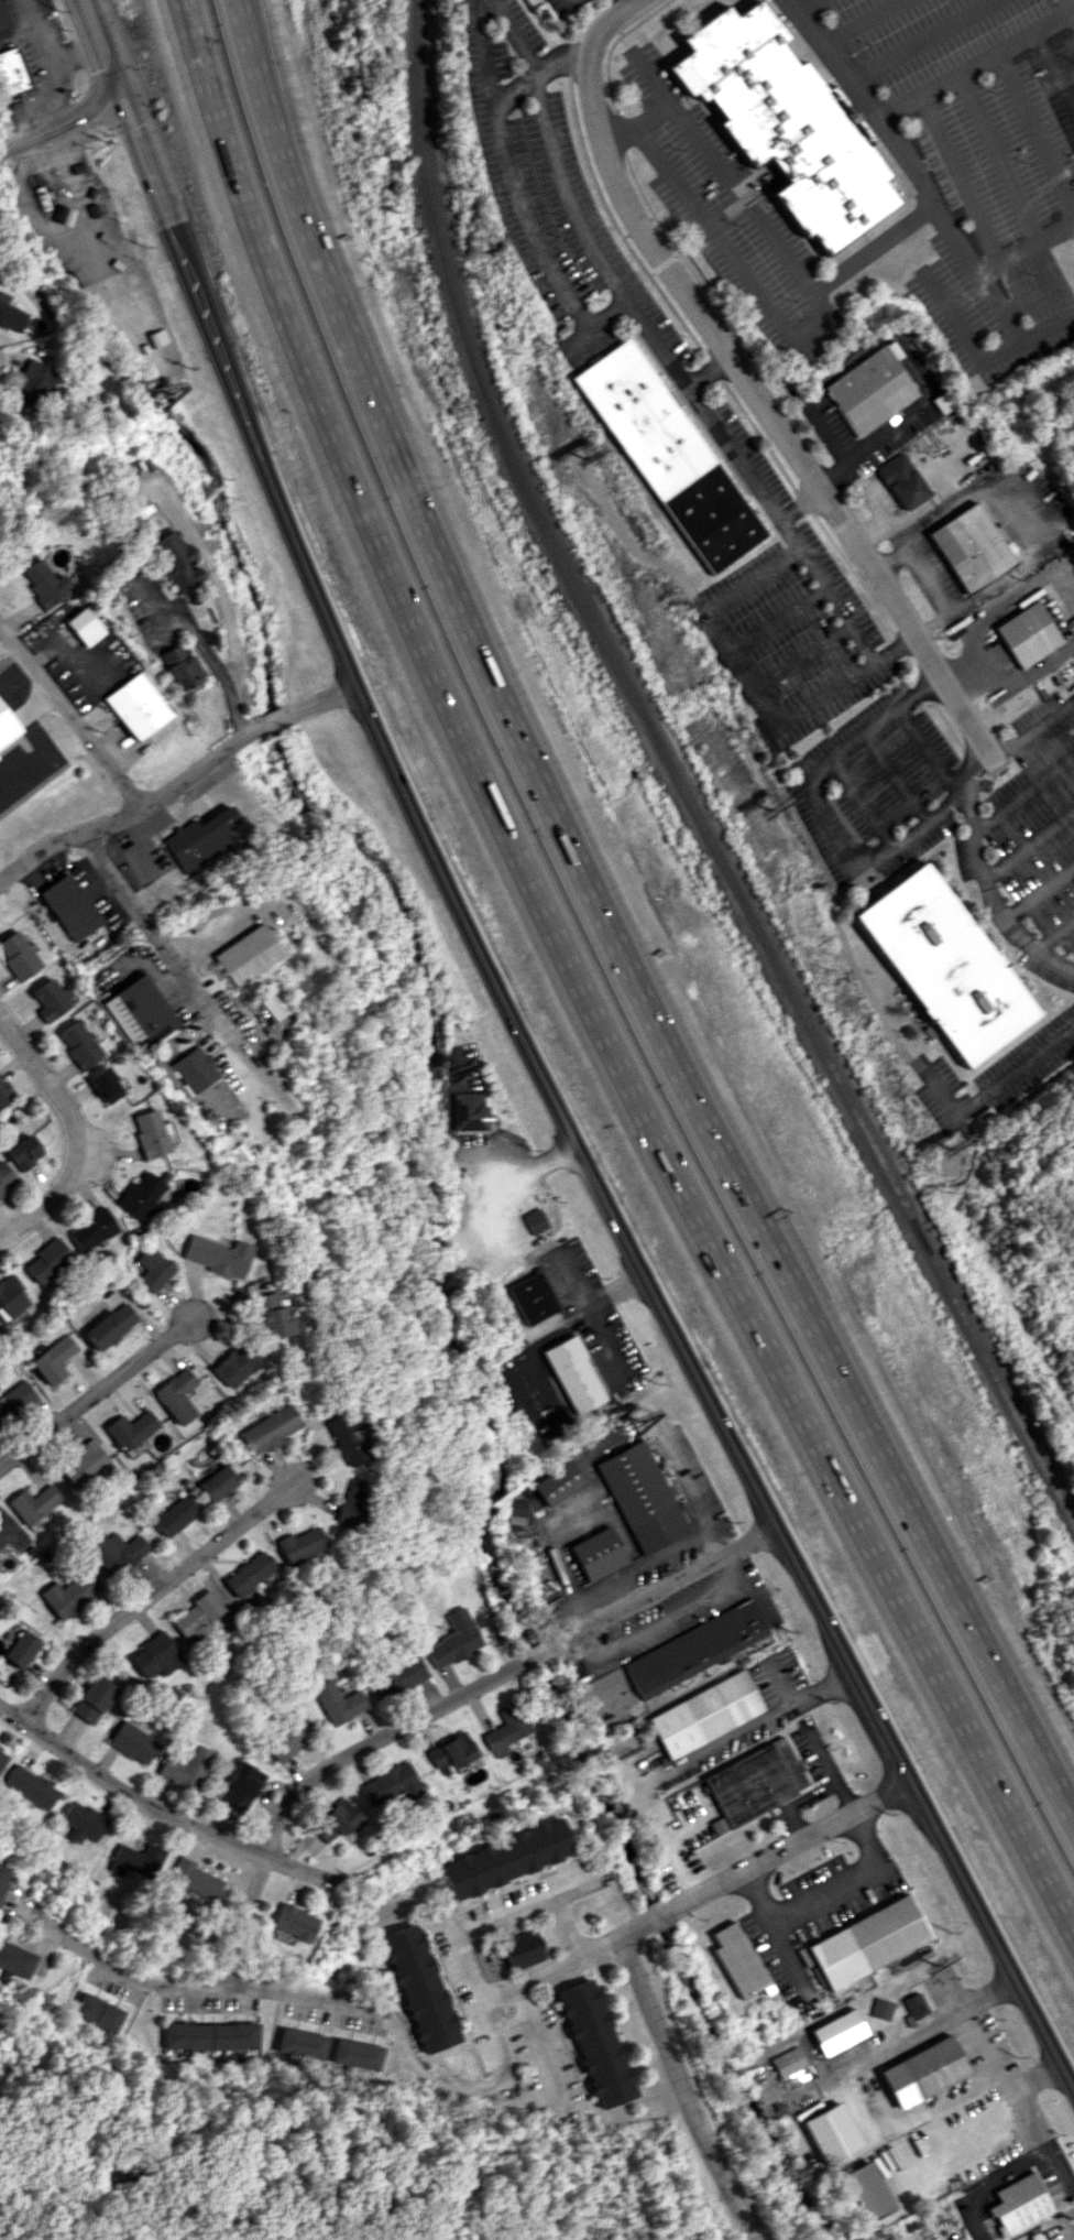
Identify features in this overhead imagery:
road: (632, 2)
road: (800, 2)
road: (568, 3)
road: (632, 6)
road: (1072, 12)
road: (1072, 18)
road: (861, 20)
building: (1, 21)
road: (515, 35)
road: (924, 40)
road: (74, 50)
road: (979, 58)
road: (48, 70)
building: (10, 73)
road: (1052, 73)
building: (58, 80)
road: (648, 115)
building: (785, 127)
road: (59, 128)
road: (1032, 131)
road: (140, 153)
road: (996, 163)
road: (228, 168)
road: (916, 173)
road: (723, 176)
road: (958, 178)
road: (570, 213)
road: (1029, 294)
building: (138, 298)
road: (774, 308)
road: (1070, 309)
road: (1073, 315)
building: (11, 316)
road: (903, 346)
road: (1000, 351)
building: (33, 385)
road: (756, 389)
building: (873, 389)
road: (719, 432)
building: (666, 455)
building: (902, 480)
building: (136, 508)
building: (971, 547)
building: (173, 561)
building: (42, 584)
road: (822, 592)
road: (219, 598)
road: (1006, 604)
road: (772, 621)
building: (84, 626)
building: (1030, 634)
road: (200, 648)
road: (794, 655)
road: (1039, 666)
building: (177, 667)
road: (738, 674)
road: (1004, 685)
building: (133, 706)
road: (69, 719)
road: (1032, 731)
road: (930, 753)
road: (896, 776)
railway: (681, 782)
road: (176, 784)
road: (1022, 797)
road: (818, 809)
building: (198, 839)
road: (1028, 848)
road: (982, 879)
road: (1038, 892)
building: (68, 906)
road: (607, 929)
road: (1054, 935)
building: (246, 954)
building: (17, 956)
building: (942, 965)
road: (180, 972)
building: (50, 1000)
building: (271, 1000)
building: (139, 1011)
building: (79, 1044)
building: (187, 1070)
road: (1015, 1070)
building: (106, 1085)
building: (6, 1092)
building: (468, 1111)
road: (74, 1131)
building: (152, 1133)
road: (657, 1144)
building: (24, 1152)
road: (529, 1161)
building: (6, 1177)
building: (141, 1195)
road: (622, 1208)
building: (534, 1220)
building: (91, 1229)
building: (215, 1254)
building: (47, 1259)
building: (152, 1269)
road: (565, 1284)
building: (9, 1296)
building: (533, 1297)
road: (580, 1306)
building: (268, 1316)
building: (109, 1325)
building: (53, 1359)
building: (232, 1364)
building: (572, 1374)
building: (175, 1395)
building: (14, 1398)
road: (96, 1399)
building: (267, 1428)
building: (129, 1429)
building: (343, 1439)
building: (81, 1464)
building: (217, 1482)
building: (557, 1482)
building: (640, 1497)
building: (350, 1502)
building: (32, 1503)
building: (174, 1514)
building: (10, 1535)
building: (298, 1544)
building: (114, 1551)
building: (596, 1553)
building: (246, 1574)
building: (69, 1594)
road: (146, 1598)
building: (195, 1617)
building: (453, 1640)
building: (693, 1648)
building: (21, 1649)
building: (154, 1655)
building: (398, 1673)
road: (819, 1687)
building: (94, 1698)
building: (337, 1701)
road: (440, 1709)
building: (705, 1711)
building: (505, 1730)
building: (291, 1738)
building: (133, 1742)
road: (708, 1744)
building: (451, 1752)
building: (2, 1757)
building: (186, 1768)
road: (831, 1771)
building: (390, 1783)
building: (753, 1783)
building: (241, 1785)
building: (30, 1786)
road: (168, 1812)
building: (81, 1822)
building: (333, 1822)
road: (664, 1839)
building: (505, 1858)
building: (136, 1859)
building: (2, 1873)
building: (194, 1879)
road: (821, 1886)
road: (698, 1893)
road: (501, 1916)
building: (294, 1922)
building: (867, 1942)
building: (519, 1948)
building: (14, 1959)
building: (737, 1959)
building: (419, 1988)
road: (331, 1997)
building: (913, 2004)
building: (880, 2009)
building: (98, 2012)
building: (836, 2031)
building: (211, 2035)
road: (534, 2040)
building: (303, 2043)
building: (594, 2043)
road: (975, 2049)
building: (358, 2054)
building: (787, 2062)
building: (922, 2072)
road: (698, 2084)
road: (859, 2099)
road: (967, 2128)
building: (830, 2131)
road: (1039, 2134)
building: (866, 2190)
building: (1018, 2203)

